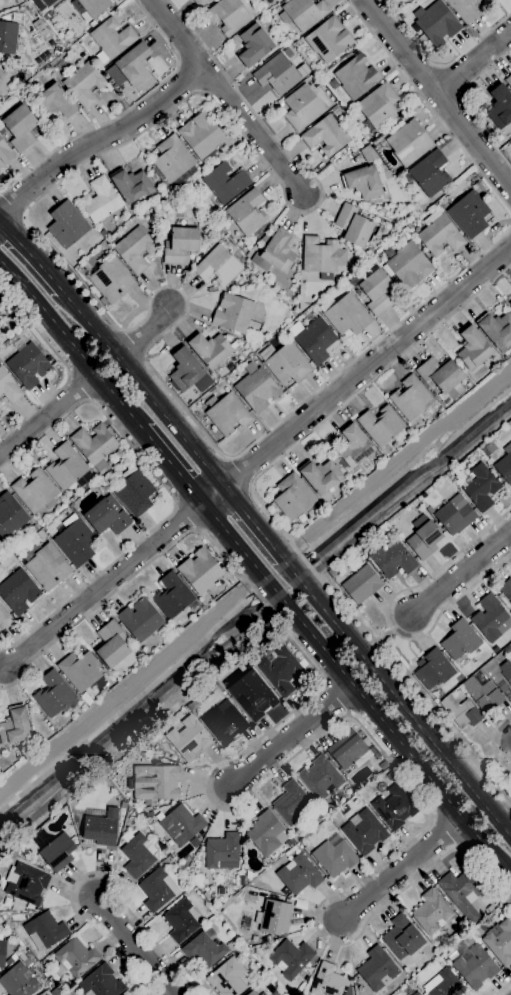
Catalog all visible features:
building: (18, 1)
building: (49, 2)
building: (200, 3)
building: (90, 8)
building: (464, 9)
building: (299, 15)
building: (228, 16)
building: (436, 23)
building: (53, 31)
road: (177, 35)
building: (8, 37)
building: (111, 40)
building: (328, 40)
building: (254, 46)
road: (474, 63)
building: (133, 64)
road: (439, 66)
building: (1, 74)
building: (277, 75)
building: (113, 76)
building: (356, 77)
building: (508, 81)
building: (84, 85)
road: (437, 94)
building: (54, 103)
road: (464, 105)
road: (429, 106)
building: (379, 107)
building: (500, 107)
building: (302, 108)
road: (125, 112)
building: (20, 128)
building: (224, 129)
road: (254, 132)
building: (201, 135)
building: (325, 136)
road: (102, 139)
building: (409, 143)
building: (510, 148)
building: (340, 153)
building: (368, 154)
building: (4, 155)
building: (212, 155)
building: (173, 160)
building: (430, 174)
building: (225, 183)
building: (363, 183)
building: (130, 185)
building: (478, 189)
building: (99, 201)
road: (13, 203)
building: (246, 213)
building: (469, 214)
building: (67, 225)
building: (353, 226)
building: (439, 235)
building: (153, 236)
building: (181, 246)
building: (134, 250)
building: (278, 252)
building: (356, 255)
road: (31, 256)
building: (322, 258)
building: (407, 265)
building: (218, 267)
road: (75, 279)
building: (111, 280)
building: (375, 291)
building: (510, 304)
building: (1, 305)
building: (233, 314)
building: (344, 314)
building: (496, 330)
road: (145, 334)
building: (315, 341)
road: (70, 343)
building: (473, 349)
building: (211, 352)
building: (285, 363)
building: (27, 365)
road: (65, 367)
building: (188, 372)
road: (355, 375)
building: (441, 378)
road: (141, 386)
building: (9, 387)
building: (256, 387)
building: (410, 399)
building: (0, 402)
road: (48, 414)
building: (226, 414)
building: (380, 426)
building: (95, 446)
building: (353, 448)
building: (490, 448)
road: (170, 463)
road: (395, 464)
building: (504, 466)
building: (67, 468)
road: (237, 475)
building: (320, 476)
building: (481, 488)
building: (35, 492)
building: (134, 492)
road: (173, 495)
building: (293, 497)
building: (429, 510)
building: (10, 515)
road: (271, 516)
building: (454, 516)
building: (107, 517)
road: (250, 522)
building: (40, 536)
building: (423, 538)
building: (75, 543)
building: (392, 560)
building: (356, 564)
building: (46, 566)
building: (200, 572)
building: (332, 573)
road: (458, 574)
road: (101, 585)
building: (361, 585)
building: (506, 590)
building: (18, 592)
building: (173, 596)
road: (387, 616)
building: (4, 618)
building: (140, 619)
building: (491, 619)
building: (460, 640)
building: (510, 643)
building: (111, 645)
building: (433, 669)
building: (279, 670)
building: (80, 671)
building: (499, 674)
road: (354, 686)
building: (53, 694)
building: (482, 694)
building: (252, 696)
road: (396, 698)
building: (193, 705)
building: (461, 712)
building: (224, 723)
building: (15, 727)
road: (291, 735)
building: (188, 739)
road: (491, 741)
building: (350, 752)
building: (137, 754)
building: (383, 766)
building: (320, 778)
building: (154, 783)
road: (257, 790)
building: (290, 803)
building: (123, 806)
building: (394, 808)
building: (147, 809)
building: (181, 825)
building: (100, 827)
building: (364, 832)
building: (266, 834)
building: (290, 842)
building: (194, 843)
building: (305, 843)
building: (54, 850)
building: (222, 852)
building: (136, 857)
building: (334, 858)
road: (400, 869)
road: (92, 874)
building: (298, 876)
road: (509, 876)
building: (25, 884)
building: (157, 890)
building: (462, 894)
building: (430, 912)
building: (273, 918)
building: (180, 921)
building: (44, 932)
building: (402, 938)
building: (269, 939)
building: (255, 941)
building: (500, 943)
road: (138, 949)
building: (204, 949)
building: (2, 952)
building: (248, 954)
building: (74, 959)
building: (291, 959)
building: (11, 960)
building: (475, 968)
building: (376, 969)
building: (229, 978)
building: (18, 981)
building: (329, 982)
building: (100, 983)
building: (444, 984)
road: (504, 989)
building: (55, 992)
building: (251, 993)
building: (416, 993)
building: (43, 994)
building: (263, 994)

